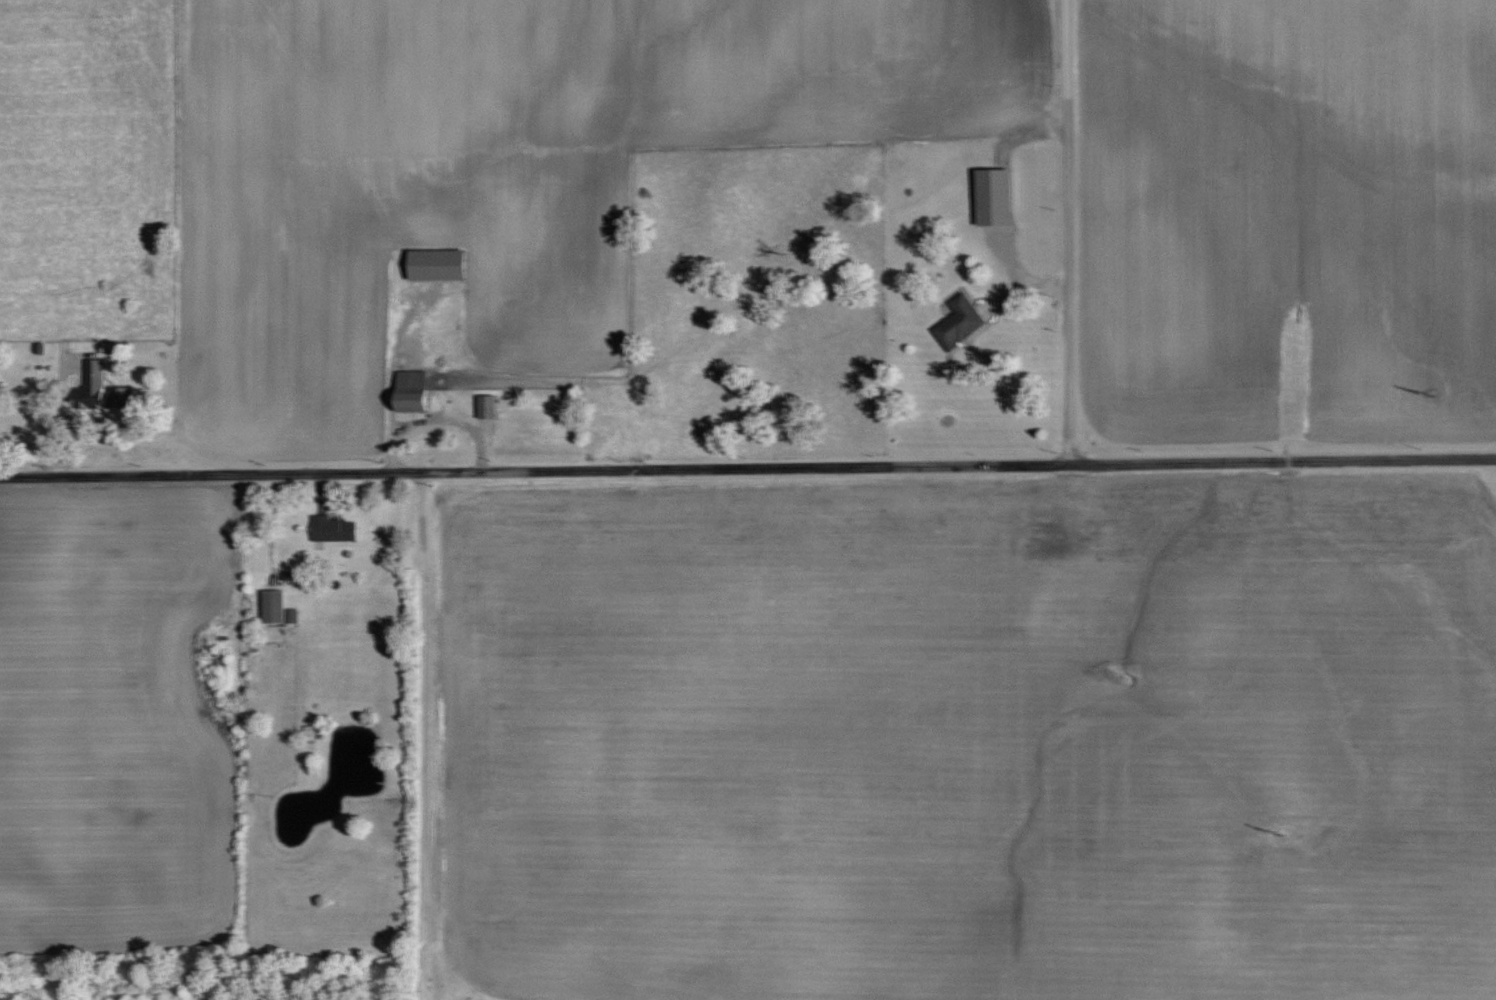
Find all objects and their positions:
building: (995, 196)
road: (1073, 232)
building: (960, 322)
building: (99, 386)
building: (419, 390)
power tower: (1437, 391)
building: (491, 406)
road: (442, 414)
road: (748, 466)
building: (336, 528)
building: (278, 606)
road: (428, 734)
power tower: (1281, 836)

